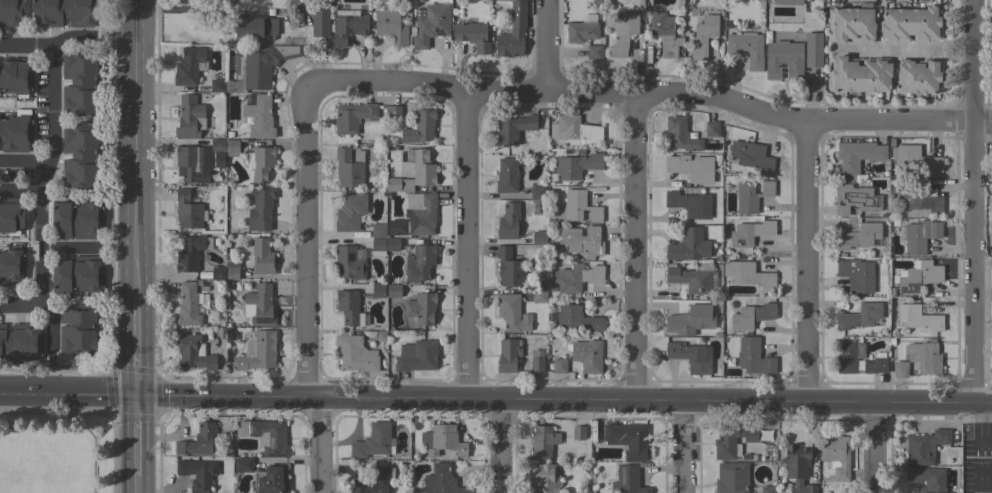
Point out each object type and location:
building: (637, 2)
building: (679, 2)
building: (788, 2)
building: (815, 6)
building: (11, 12)
building: (65, 12)
building: (270, 12)
building: (587, 18)
building: (319, 21)
building: (429, 24)
building: (851, 24)
building: (910, 24)
building: (347, 25)
building: (390, 25)
building: (727, 25)
building: (254, 26)
building: (581, 31)
building: (512, 32)
building: (623, 33)
building: (665, 34)
building: (472, 35)
building: (703, 36)
road: (953, 43)
road: (543, 44)
road: (46, 46)
building: (746, 48)
building: (812, 49)
road: (888, 50)
building: (593, 52)
road: (954, 56)
building: (783, 59)
building: (189, 66)
building: (260, 66)
building: (859, 74)
building: (16, 76)
building: (918, 76)
building: (79, 82)
building: (216, 83)
road: (646, 91)
building: (393, 111)
building: (352, 116)
building: (189, 117)
building: (259, 117)
building: (419, 127)
building: (513, 128)
building: (712, 129)
building: (575, 130)
building: (15, 133)
building: (680, 134)
building: (228, 135)
building: (232, 148)
building: (217, 151)
building: (857, 154)
building: (79, 156)
building: (750, 156)
building: (913, 158)
building: (723, 161)
road: (24, 162)
building: (259, 162)
building: (192, 163)
building: (576, 165)
building: (349, 167)
building: (690, 167)
building: (414, 173)
building: (506, 175)
building: (859, 178)
road: (20, 189)
building: (537, 192)
building: (751, 196)
building: (855, 198)
building: (915, 198)
road: (970, 202)
road: (38, 203)
building: (689, 204)
building: (579, 207)
building: (260, 209)
building: (188, 211)
building: (350, 211)
building: (421, 214)
building: (11, 215)
building: (76, 219)
building: (509, 221)
building: (394, 227)
building: (750, 232)
building: (919, 236)
building: (539, 237)
building: (858, 237)
building: (377, 239)
building: (581, 240)
building: (392, 244)
road: (468, 244)
building: (688, 245)
road: (135, 246)
road: (68, 247)
road: (635, 247)
building: (191, 252)
building: (262, 257)
building: (716, 259)
road: (803, 261)
building: (349, 262)
road: (981, 262)
building: (419, 263)
building: (12, 266)
building: (201, 266)
building: (509, 267)
building: (231, 270)
building: (217, 273)
building: (747, 274)
building: (78, 275)
building: (856, 275)
building: (918, 276)
building: (575, 277)
building: (693, 278)
building: (203, 288)
building: (378, 290)
building: (393, 291)
road: (309, 293)
building: (931, 294)
building: (539, 296)
road: (18, 300)
building: (190, 305)
building: (259, 306)
building: (349, 308)
building: (420, 308)
building: (511, 313)
building: (751, 316)
building: (859, 316)
building: (916, 317)
building: (575, 318)
building: (690, 320)
building: (78, 330)
building: (381, 336)
building: (21, 343)
building: (257, 351)
building: (193, 352)
building: (355, 354)
building: (508, 355)
building: (691, 355)
building: (416, 356)
building: (587, 356)
building: (849, 356)
building: (923, 356)
building: (753, 357)
building: (991, 357)
building: (536, 361)
building: (559, 365)
building: (875, 365)
building: (900, 370)
traffic signals: (137, 394)
road: (435, 402)
road: (931, 403)
building: (578, 433)
building: (750, 435)
building: (266, 436)
building: (442, 440)
building: (629, 440)
building: (197, 441)
building: (372, 441)
building: (543, 442)
building: (226, 443)
building: (727, 443)
road: (501, 447)
road: (681, 447)
road: (872, 447)
building: (924, 447)
road: (981, 448)
road: (987, 451)
building: (835, 455)
building: (243, 464)
building: (797, 468)
building: (198, 474)
building: (543, 477)
building: (731, 478)
building: (926, 478)
building: (271, 479)
building: (627, 480)
building: (376, 481)
building: (441, 481)
building: (767, 489)
building: (583, 491)

